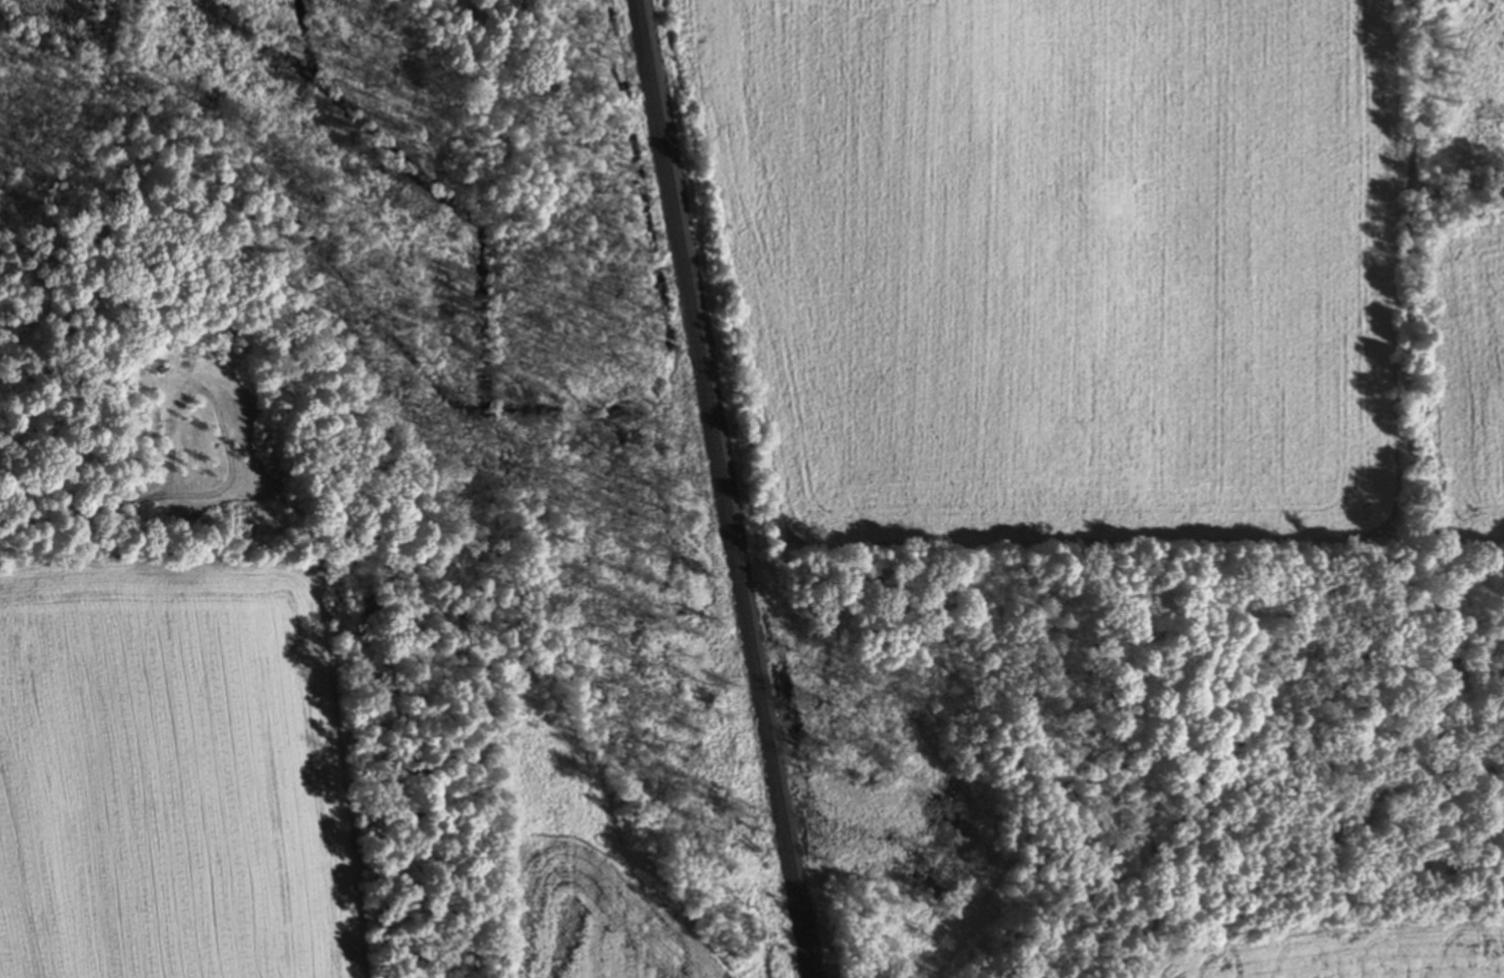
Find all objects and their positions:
railway: (728, 489)
road: (54, 514)
road: (59, 816)

